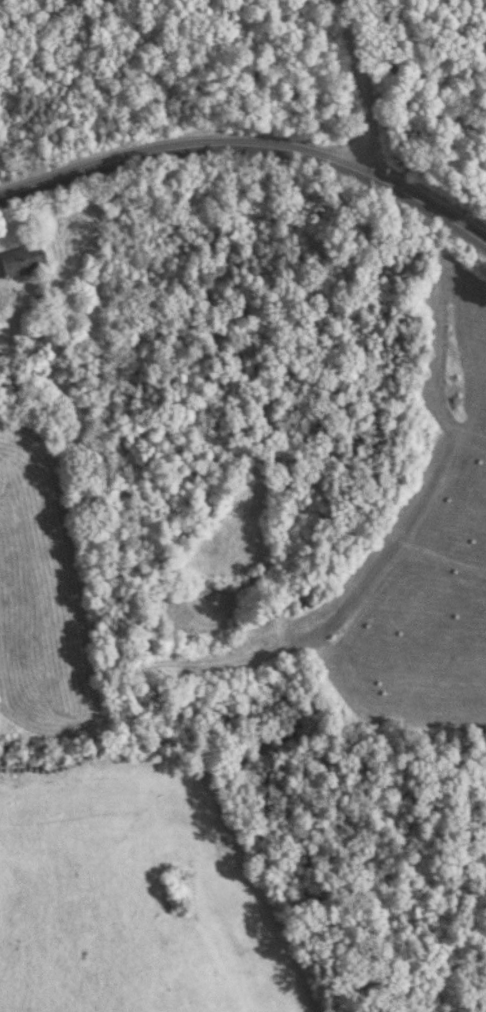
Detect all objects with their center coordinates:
road: (359, 84)
road: (251, 144)
building: (111, 199)
building: (22, 264)

